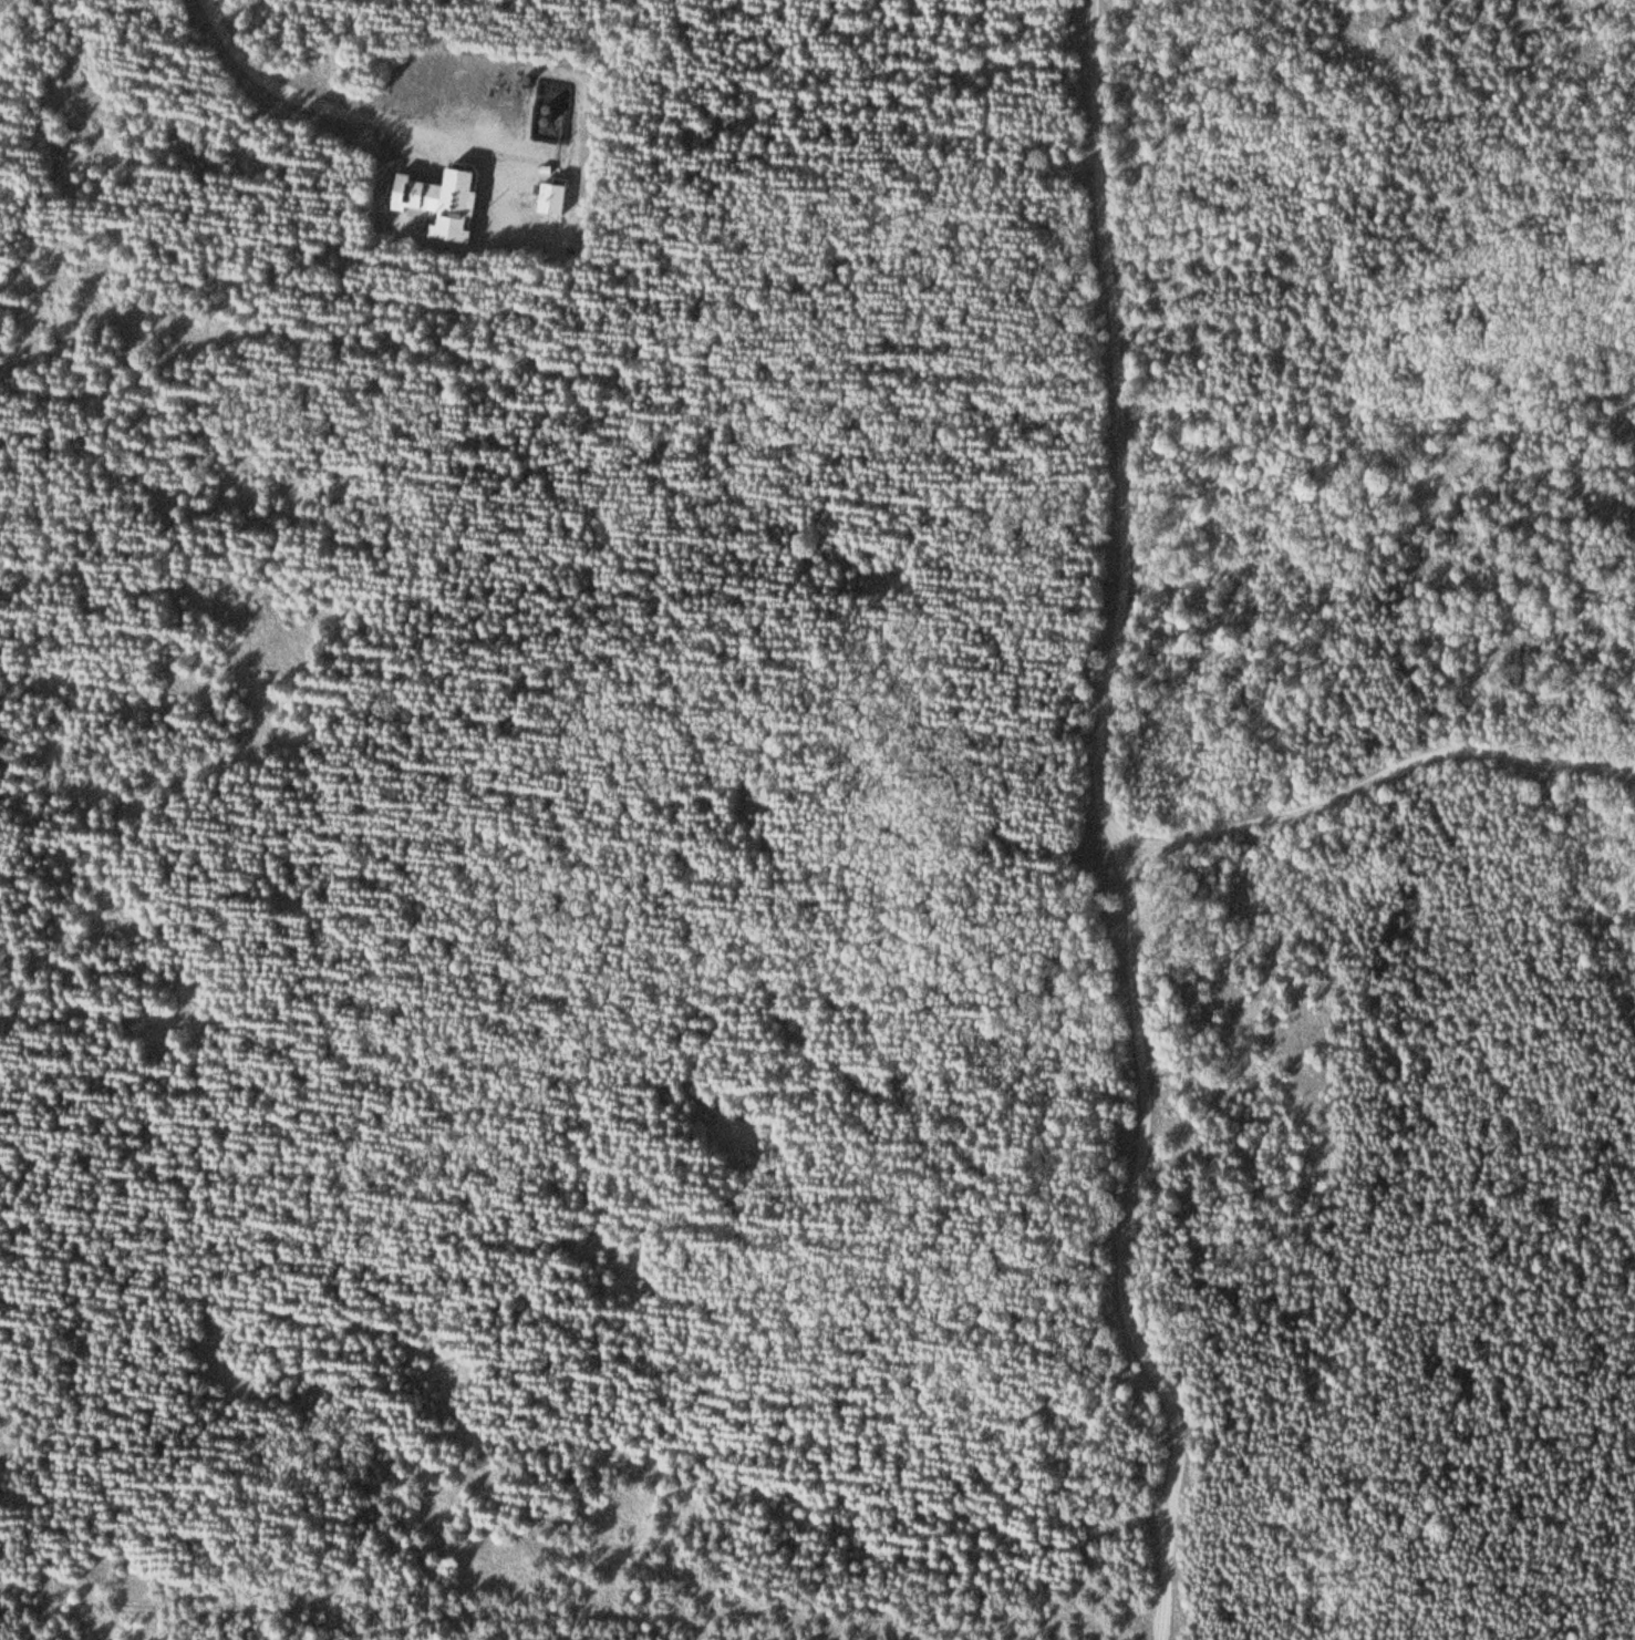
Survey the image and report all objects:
road: (2, 3)
road: (325, 94)
building: (557, 198)
building: (451, 203)
road: (1386, 774)
road: (1127, 824)

